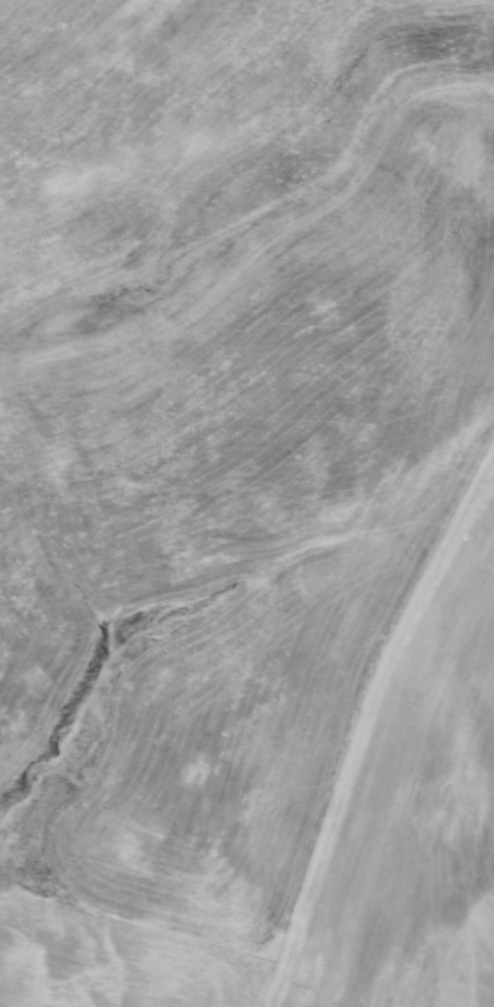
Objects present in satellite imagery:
road: (368, 729)

